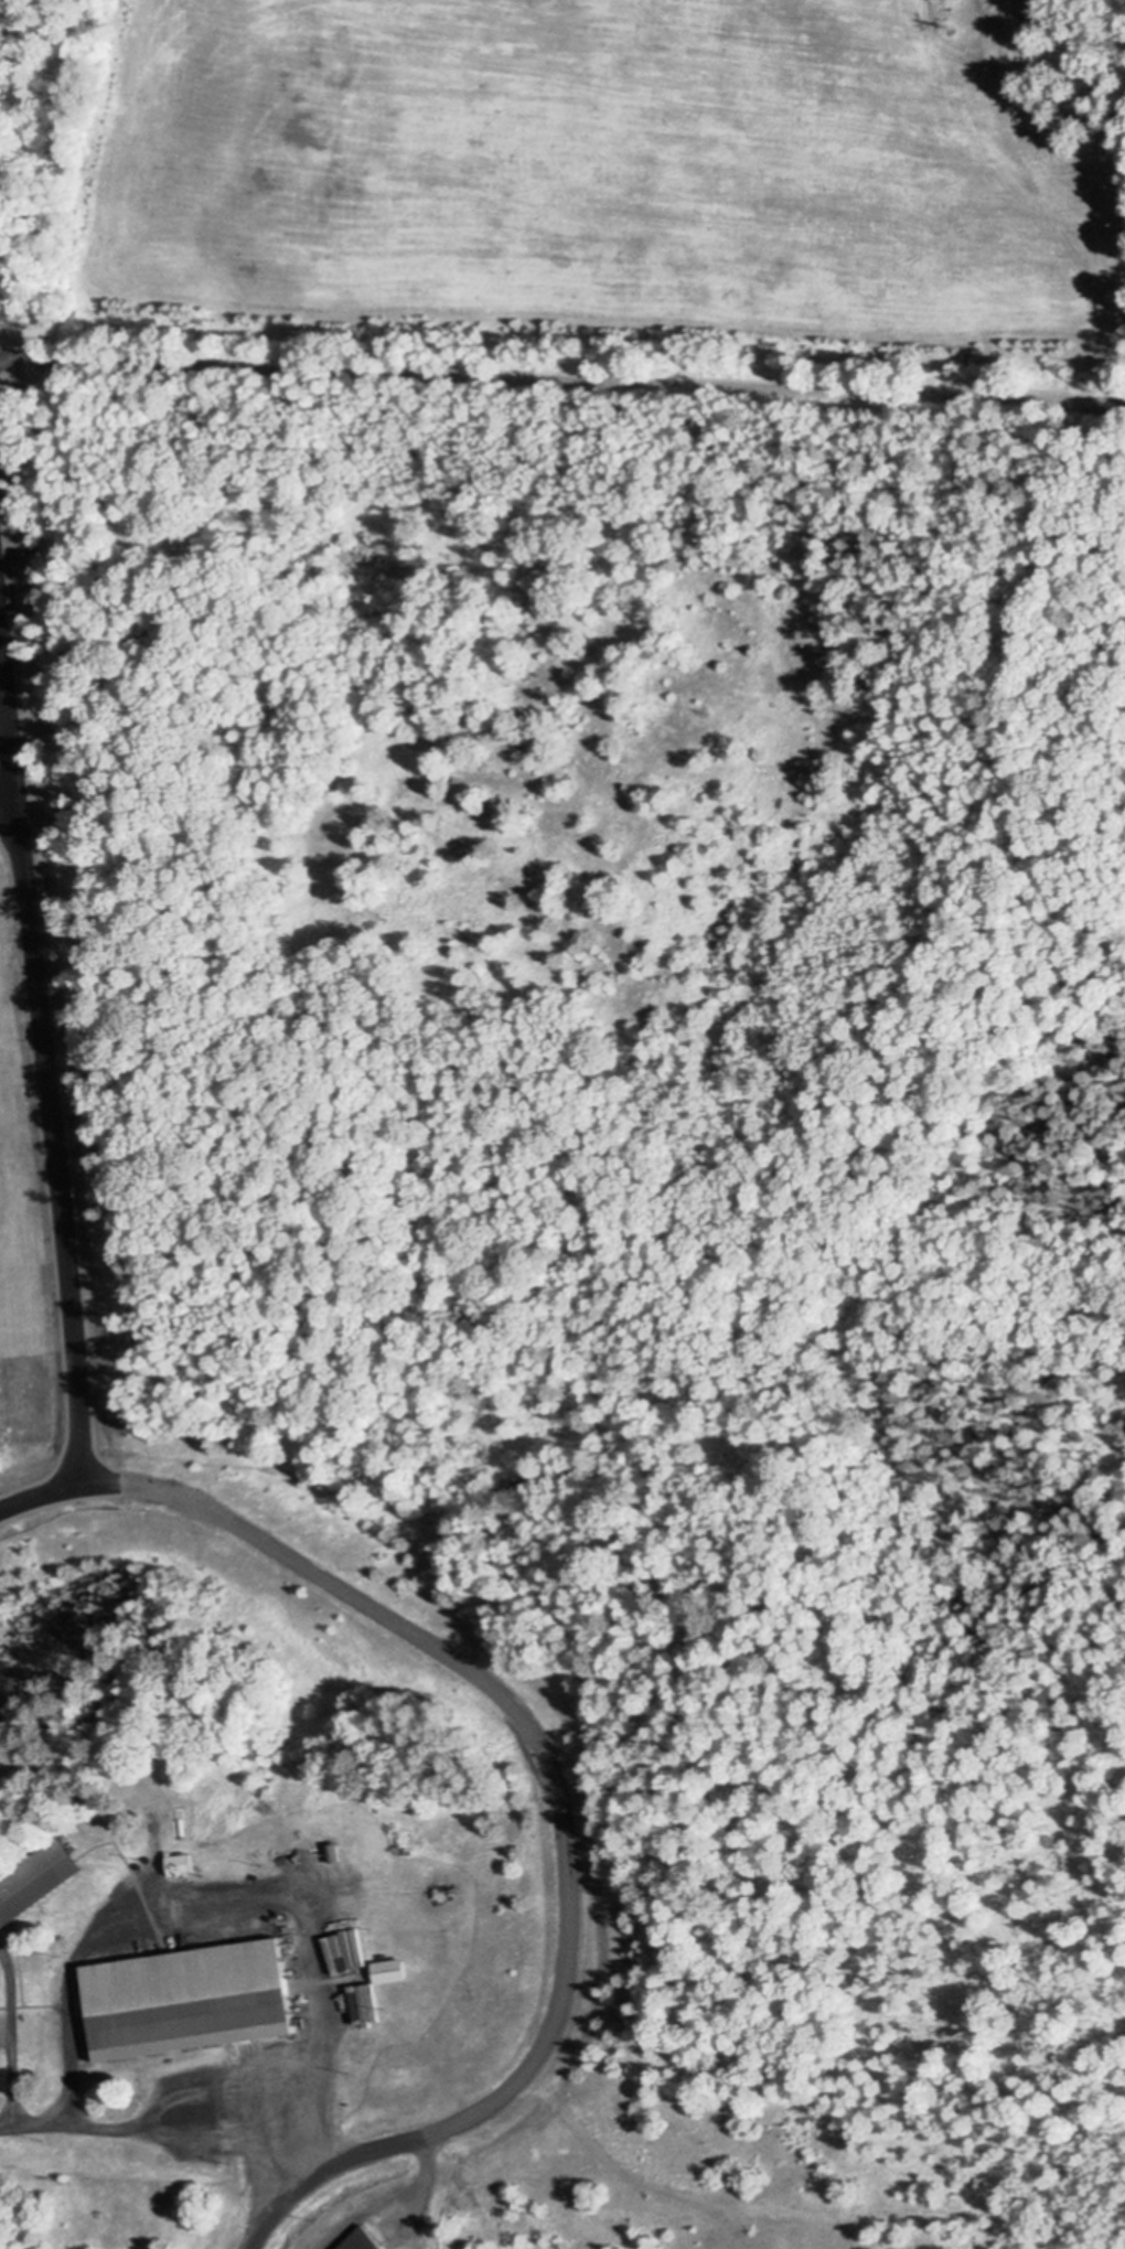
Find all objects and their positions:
road: (560, 375)
road: (1123, 397)
road: (2, 583)
road: (11, 789)
road: (40, 1008)
road: (546, 1768)
road: (243, 1891)
road: (8, 2037)
road: (156, 2138)

